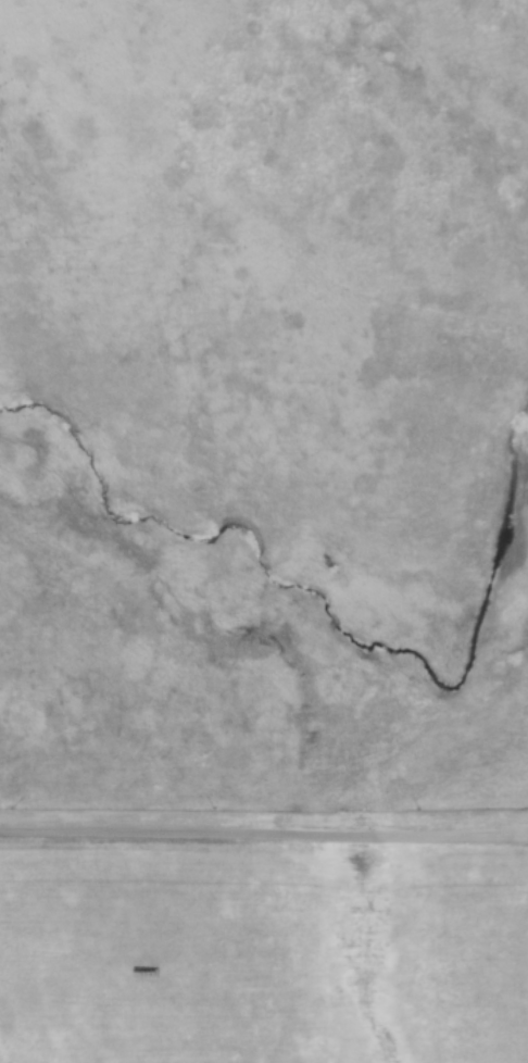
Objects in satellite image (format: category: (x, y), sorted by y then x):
road: (264, 843)

